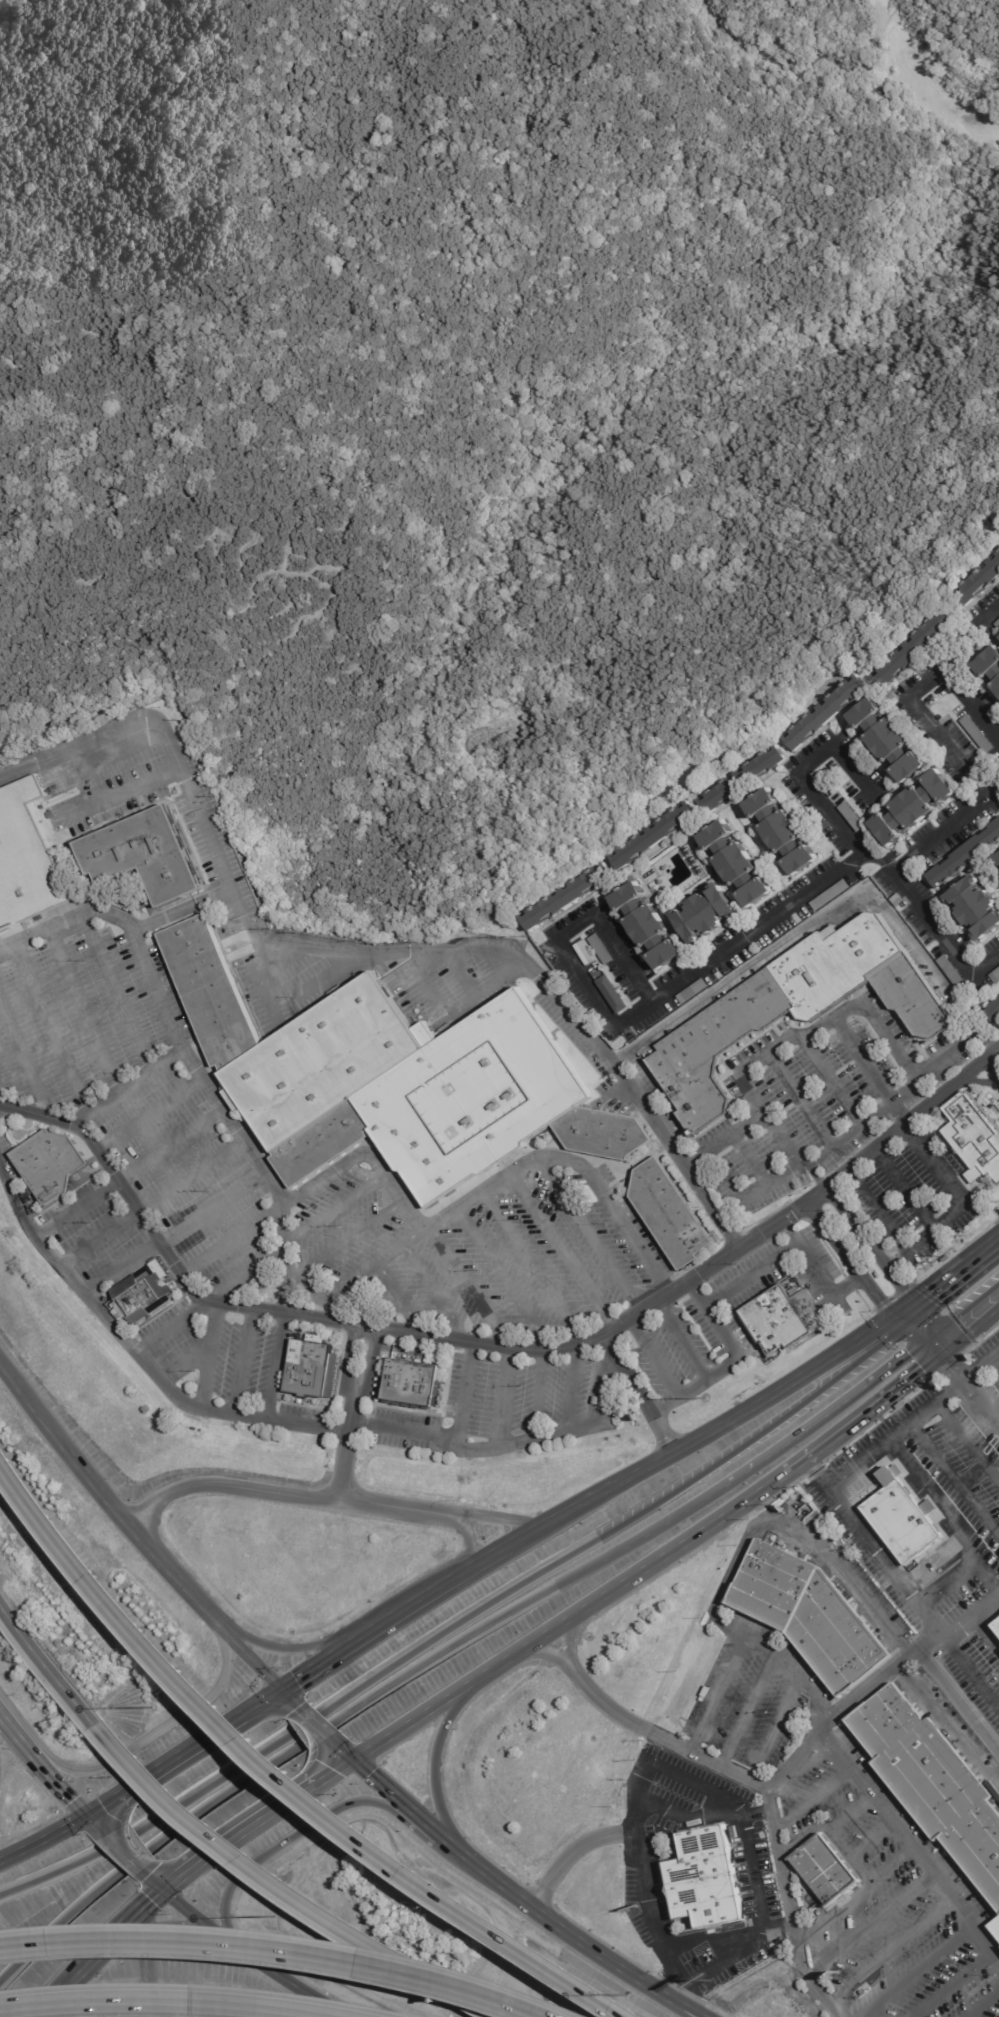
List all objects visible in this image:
park: (480, 399)
building: (982, 582)
road: (991, 612)
building: (998, 624)
building: (922, 646)
building: (990, 664)
road: (907, 696)
building: (830, 713)
building: (979, 734)
building: (889, 741)
road: (72, 751)
road: (803, 767)
road: (87, 777)
building: (745, 780)
road: (122, 792)
building: (913, 807)
building: (854, 816)
road: (945, 828)
building: (784, 832)
building: (655, 837)
building: (148, 856)
building: (966, 857)
building: (998, 857)
building: (27, 858)
building: (738, 865)
road: (836, 868)
building: (832, 895)
building: (567, 897)
building: (976, 907)
road: (184, 909)
building: (708, 913)
road: (66, 918)
building: (650, 927)
road: (557, 938)
building: (603, 949)
road: (448, 951)
building: (836, 964)
road: (416, 966)
building: (953, 970)
road: (254, 971)
road: (458, 975)
road: (328, 977)
building: (996, 977)
road: (424, 990)
road: (487, 991)
building: (694, 992)
road: (112, 993)
building: (613, 994)
building: (913, 998)
road: (80, 1011)
building: (993, 1012)
building: (641, 1028)
road: (47, 1029)
road: (802, 1038)
road: (957, 1045)
building: (716, 1048)
road: (860, 1059)
road: (23, 1064)
building: (393, 1078)
road: (831, 1081)
road: (126, 1087)
road: (798, 1099)
road: (2, 1102)
road: (149, 1115)
road: (912, 1115)
road: (847, 1133)
building: (974, 1136)
road: (722, 1139)
road: (170, 1144)
road: (748, 1158)
road: (374, 1161)
building: (50, 1166)
road: (191, 1177)
road: (769, 1181)
road: (729, 1186)
road: (902, 1187)
road: (962, 1204)
road: (78, 1207)
road: (876, 1208)
road: (209, 1209)
road: (334, 1211)
building: (669, 1213)
road: (586, 1234)
road: (102, 1237)
road: (351, 1239)
road: (230, 1240)
road: (870, 1248)
road: (558, 1252)
road: (790, 1252)
road: (164, 1254)
road: (284, 1255)
road: (716, 1262)
road: (851, 1262)
road: (119, 1266)
road: (529, 1267)
road: (360, 1274)
road: (245, 1276)
road: (291, 1278)
road: (500, 1280)
road: (952, 1282)
road: (466, 1287)
road: (433, 1294)
building: (143, 1295)
road: (394, 1302)
road: (963, 1310)
traffic signals: (906, 1317)
building: (776, 1320)
road: (110, 1323)
road: (170, 1328)
road: (916, 1328)
road: (969, 1330)
traffic signals: (927, 1340)
road: (679, 1342)
road: (933, 1347)
road: (560, 1349)
road: (730, 1353)
road: (205, 1354)
traffic signals: (940, 1355)
road: (995, 1360)
road: (241, 1361)
road: (183, 1362)
road: (981, 1363)
road: (272, 1365)
road: (951, 1366)
building: (310, 1370)
road: (655, 1370)
road: (347, 1378)
road: (367, 1382)
building: (412, 1384)
road: (594, 1384)
road: (568, 1389)
road: (463, 1393)
road: (535, 1395)
road: (501, 1397)
street lamp: (705, 1398)
road: (981, 1400)
building: (598, 1401)
road: (926, 1406)
road: (836, 1407)
road: (305, 1424)
road: (847, 1429)
road: (401, 1431)
road: (708, 1434)
road: (522, 1440)
road: (966, 1441)
road: (63, 1446)
road: (342, 1469)
road: (953, 1477)
road: (921, 1479)
road: (283, 1496)
road: (682, 1511)
road: (499, 1520)
building: (902, 1523)
road: (746, 1543)
road: (467, 1548)
road: (875, 1548)
road: (480, 1564)
road: (172, 1572)
road: (948, 1580)
road: (404, 1612)
building: (810, 1615)
road: (461, 1619)
building: (996, 1621)
road: (551, 1625)
building: (996, 1627)
road: (984, 1637)
road: (282, 1649)
road: (250, 1655)
road: (45, 1667)
road: (322, 1667)
road: (970, 1672)
road: (793, 1673)
traffic signals: (286, 1691)
road: (291, 1696)
road: (272, 1700)
road: (959, 1700)
road: (747, 1710)
road: (314, 1717)
road: (160, 1729)
road: (774, 1731)
road: (16, 1739)
road: (336, 1739)
road: (297, 1751)
road: (349, 1751)
traffic signals: (356, 1758)
road: (173, 1762)
road: (438, 1762)
road: (279, 1773)
road: (776, 1782)
building: (933, 1784)
road: (59, 1787)
road: (389, 1789)
road: (812, 1798)
road: (734, 1803)
road: (769, 1803)
road: (849, 1814)
traffic signals: (88, 1816)
road: (732, 1817)
road: (273, 1818)
road: (93, 1821)
road: (901, 1831)
road: (296, 1836)
road: (442, 1836)
road: (110, 1838)
road: (44, 1839)
road: (871, 1840)
road: (136, 1862)
road: (892, 1865)
road: (858, 1868)
building: (823, 1869)
road: (496, 1878)
building: (704, 1878)
road: (160, 1884)
road: (181, 1886)
road: (282, 1890)
traffic signals: (171, 1894)
road: (871, 1923)
road: (556, 1924)
building: (996, 1927)
road: (126, 1936)
road: (987, 1943)
road: (671, 1949)
road: (892, 1949)
road: (271, 1951)
road: (257, 1960)
road: (712, 1966)
road: (922, 1971)
road: (628, 1980)
road: (645, 1980)
road: (952, 1984)
road: (61, 1997)
building: (853, 2000)
road: (155, 2003)
road: (982, 2003)

